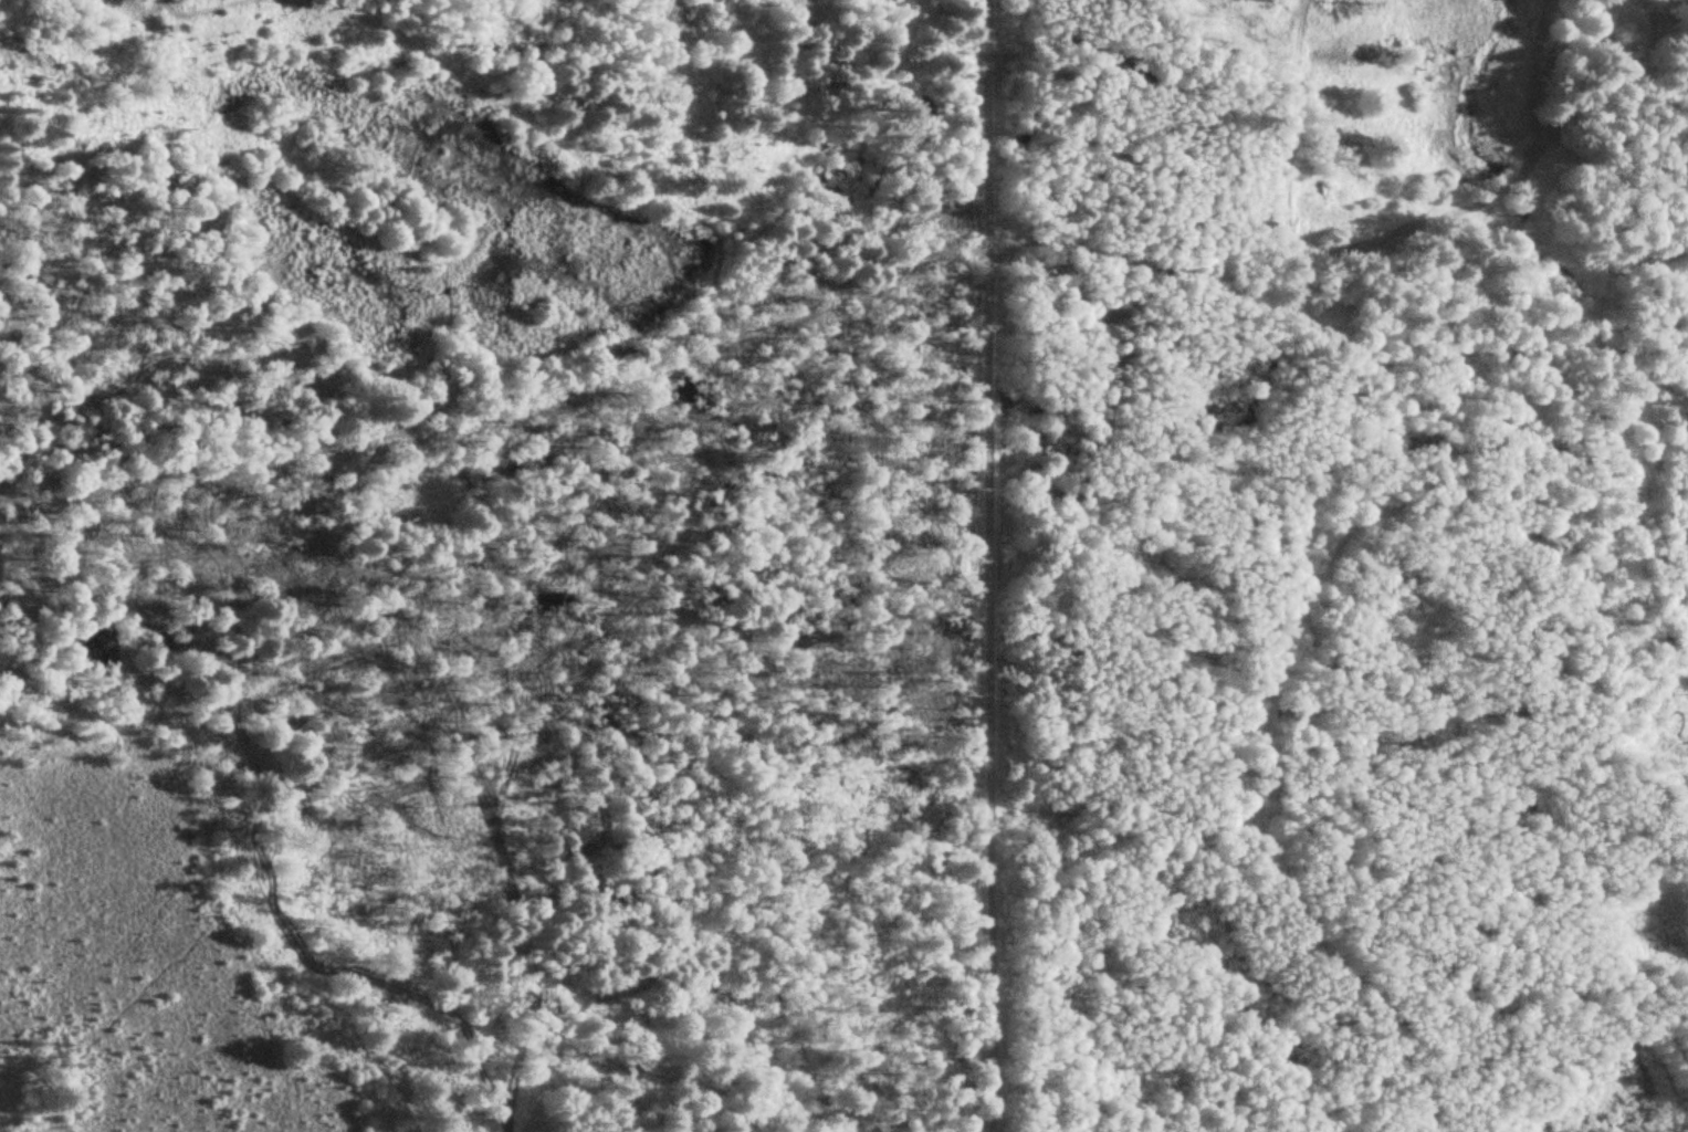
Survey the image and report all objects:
road: (993, 565)

